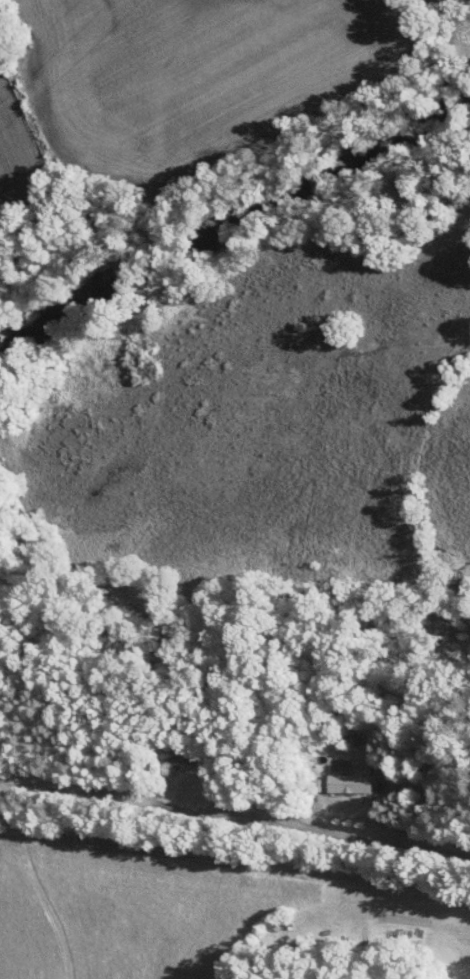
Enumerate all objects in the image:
building: (349, 781)
road: (235, 812)

